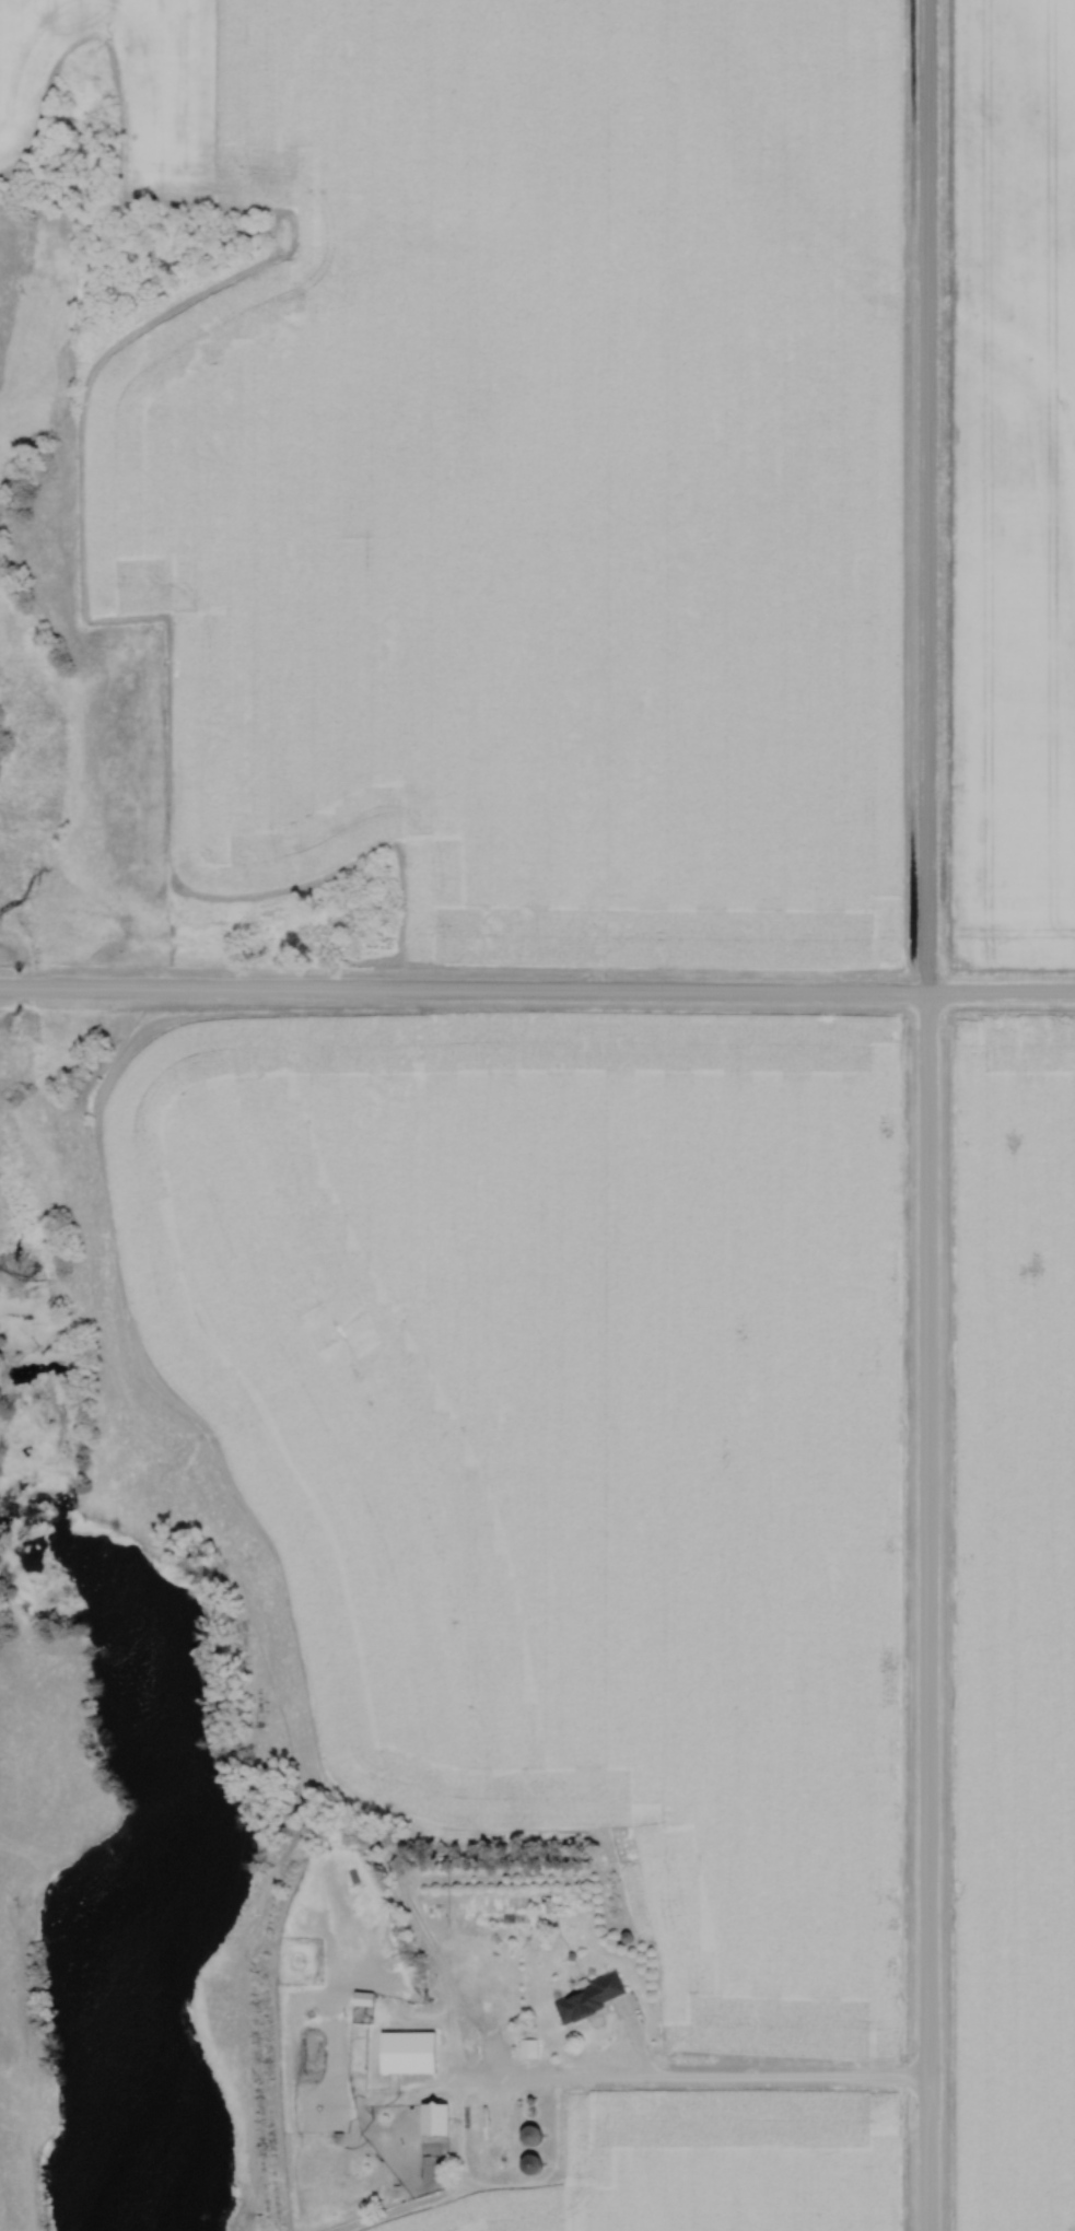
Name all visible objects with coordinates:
road: (537, 988)
road: (921, 1115)
building: (589, 1997)
building: (366, 2000)
building: (528, 2048)
building: (409, 2054)
road: (750, 2078)
building: (436, 2122)
building: (531, 2135)

